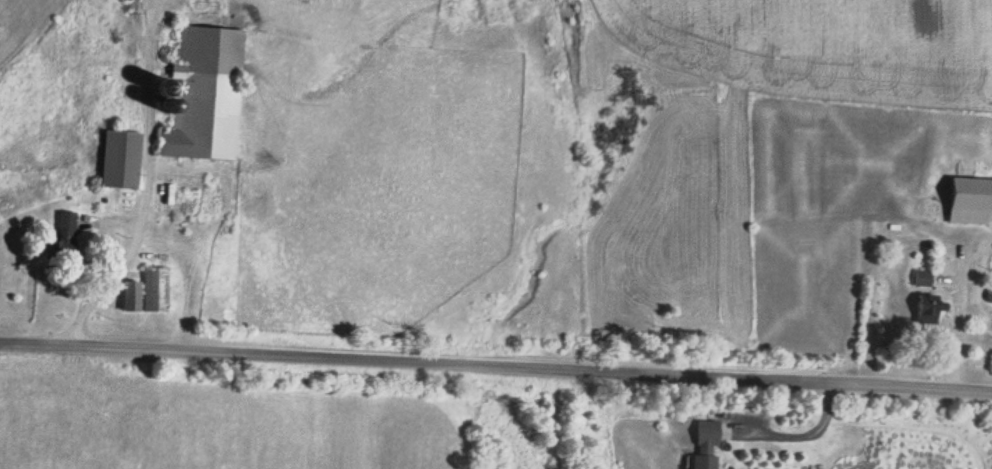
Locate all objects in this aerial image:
building: (208, 95)
building: (123, 160)
building: (972, 202)
building: (924, 279)
building: (149, 292)
building: (930, 308)
road: (496, 364)
building: (707, 444)

